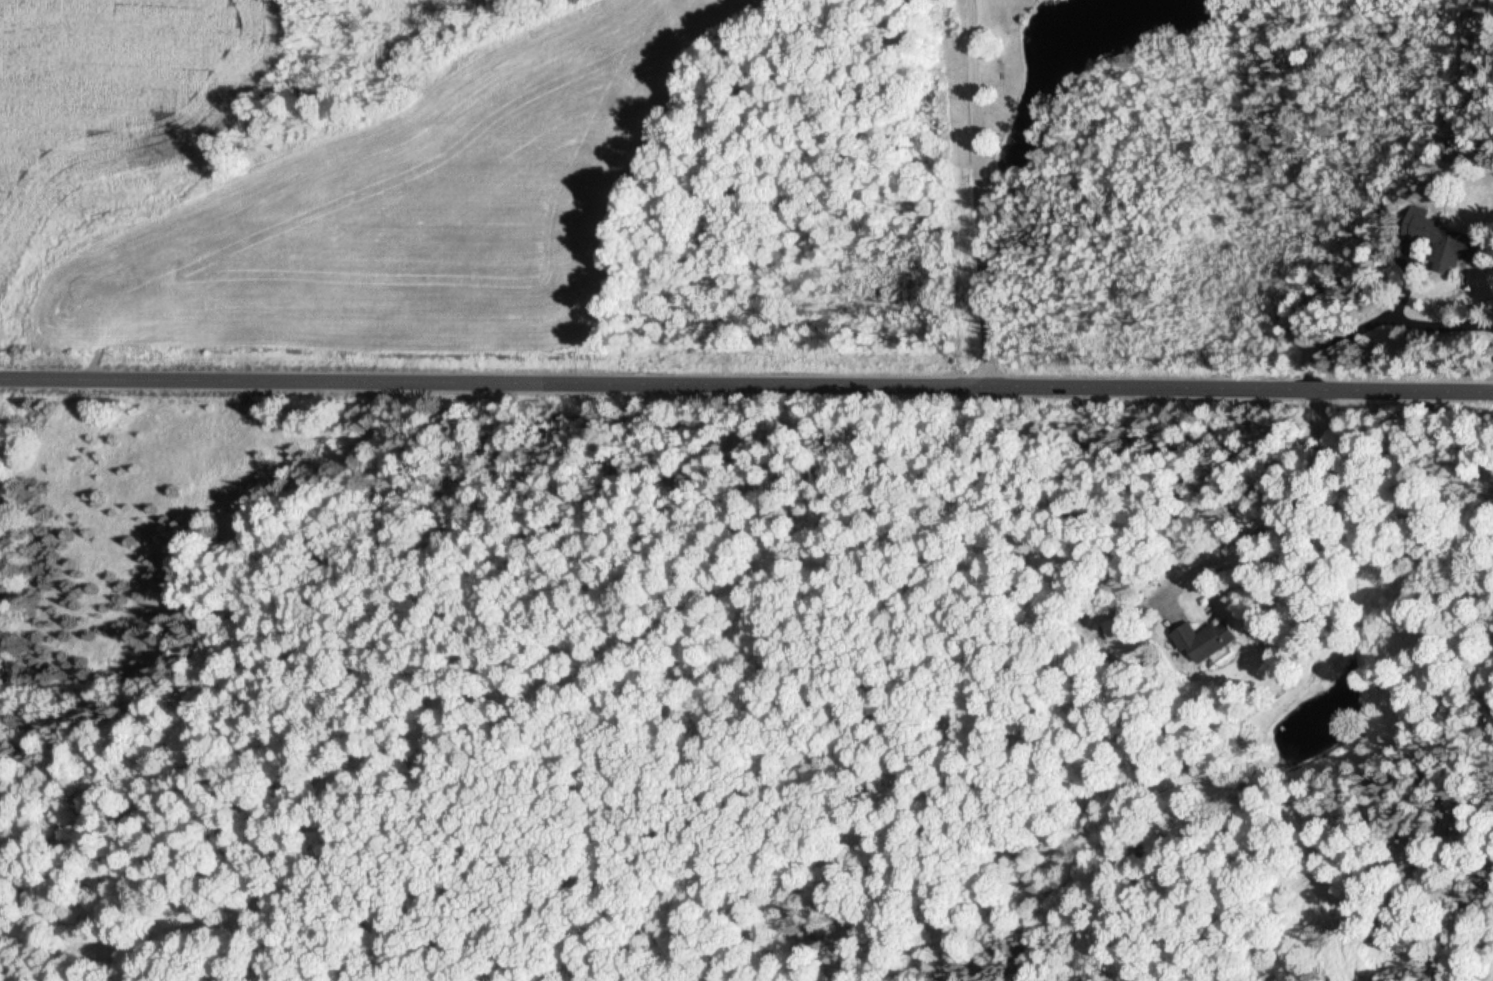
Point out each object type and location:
building: (1448, 243)
road: (746, 382)
building: (1210, 639)

